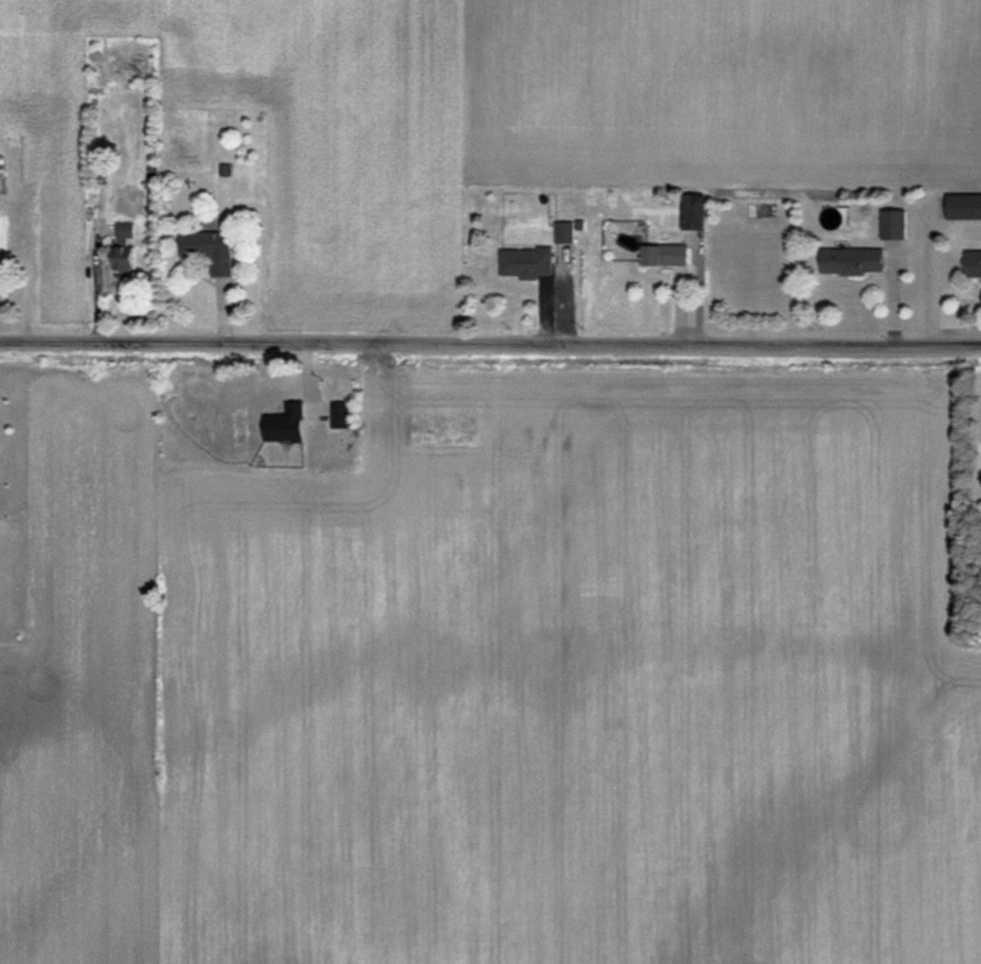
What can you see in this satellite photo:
building: (964, 207)
building: (694, 212)
building: (894, 225)
building: (565, 232)
building: (125, 246)
building: (211, 250)
building: (666, 255)
building: (854, 261)
building: (527, 262)
building: (973, 263)
road: (490, 338)
building: (342, 414)
building: (287, 424)

